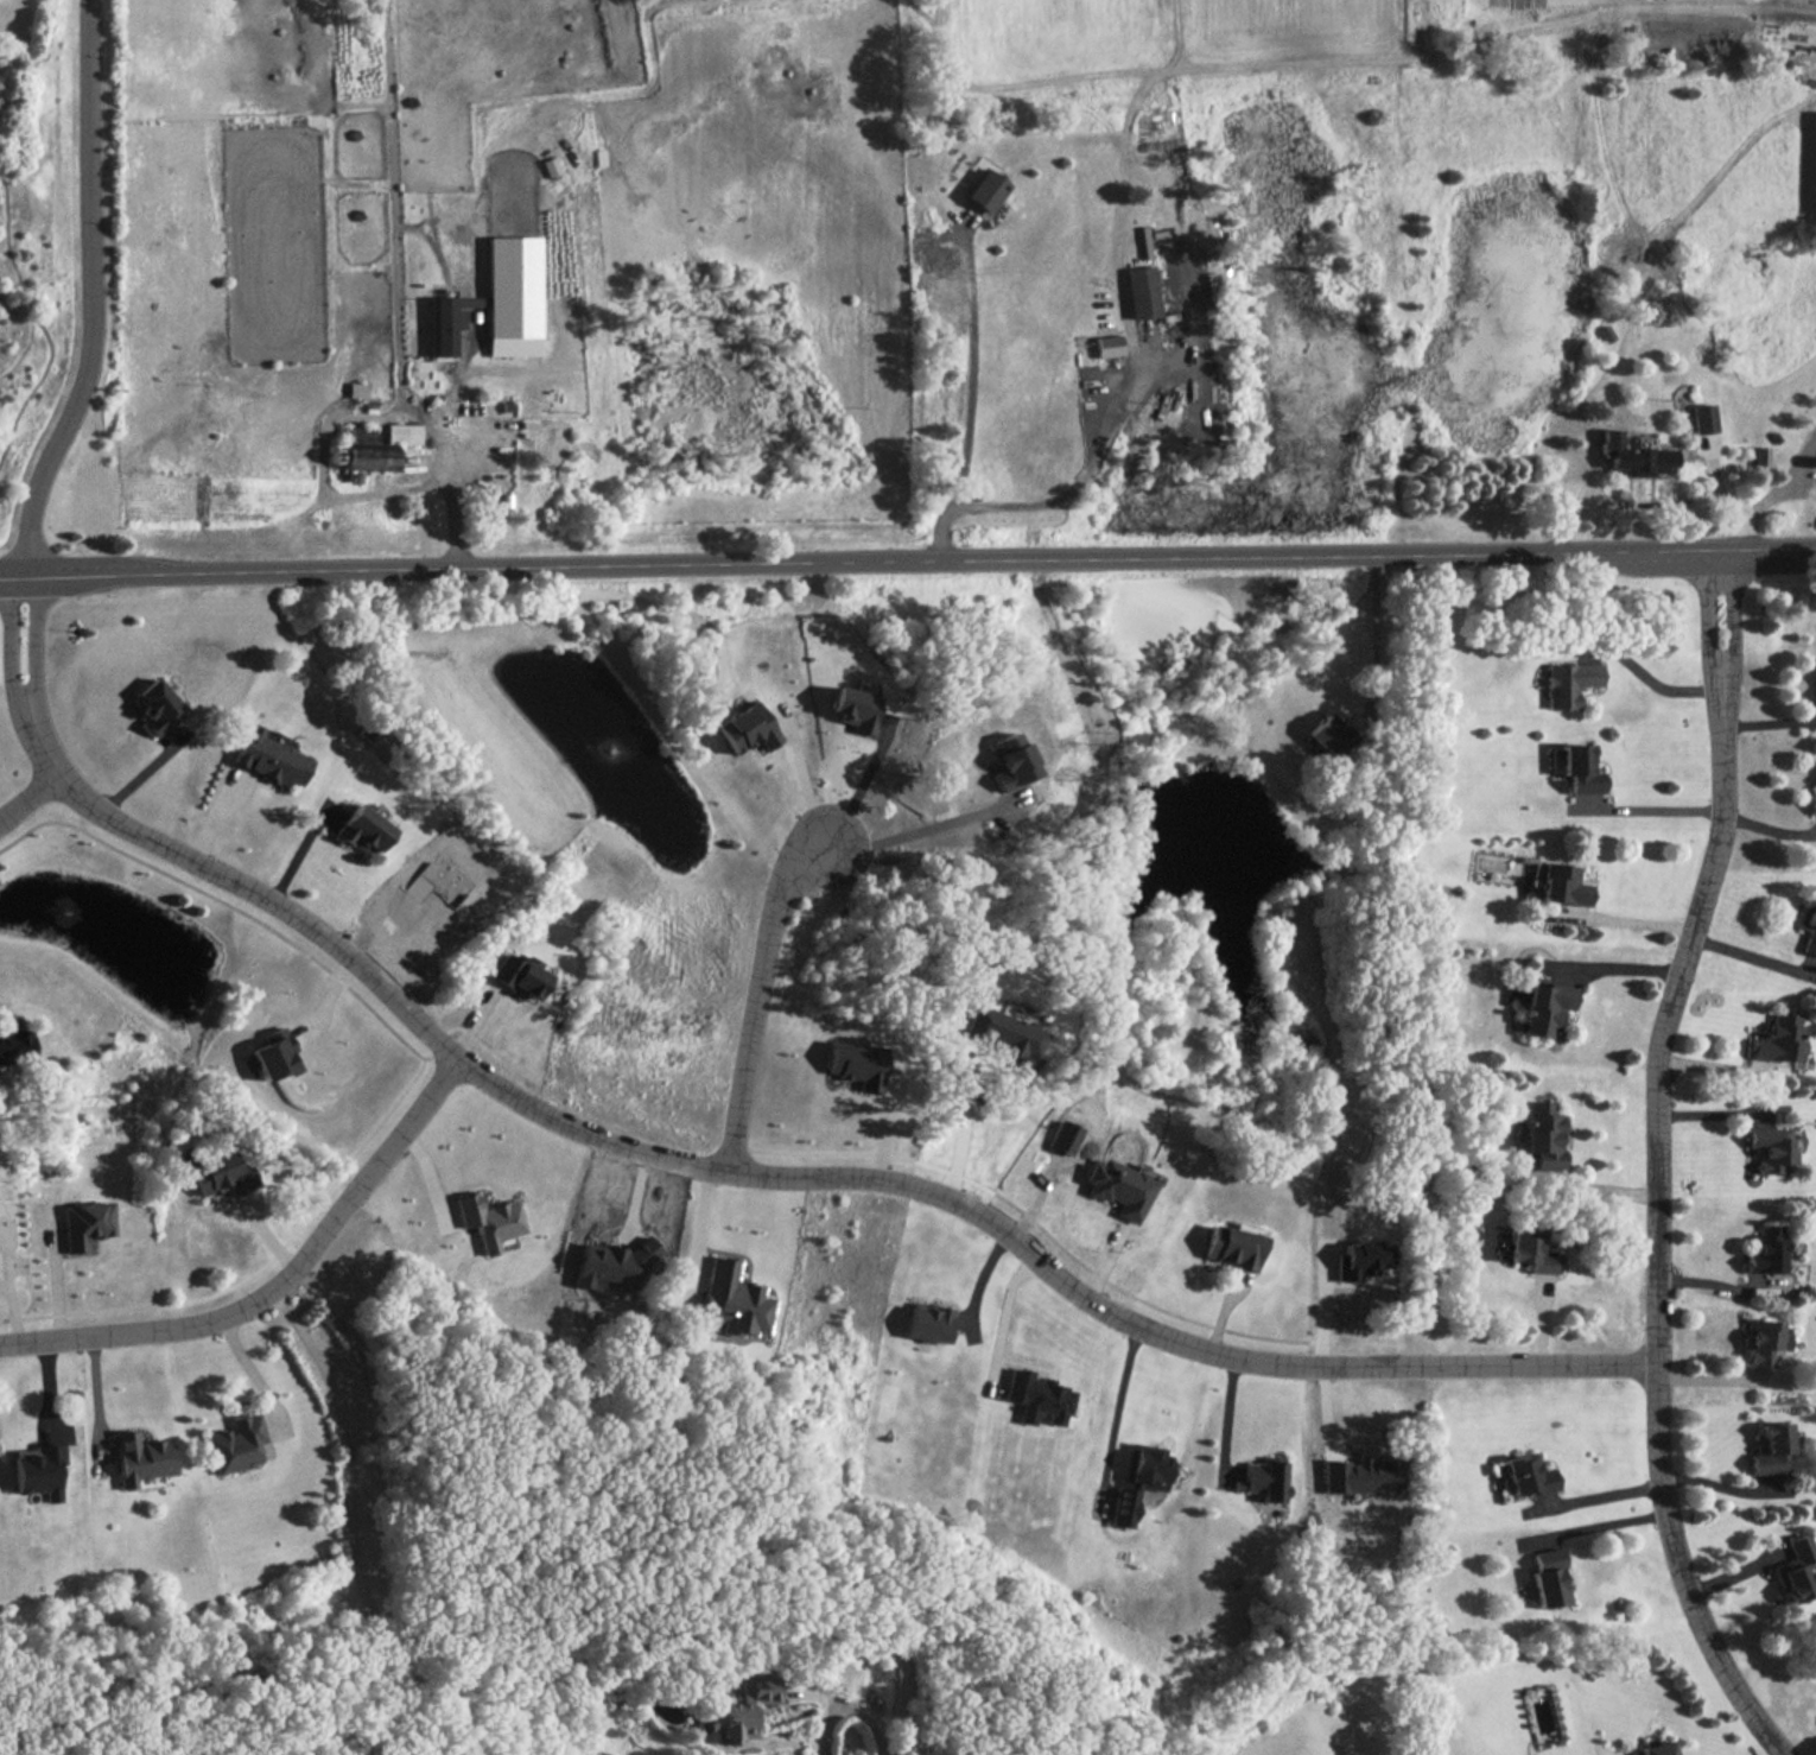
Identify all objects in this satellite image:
building: (1814, 160)
building: (986, 189)
building: (1143, 292)
road: (93, 294)
building: (513, 296)
building: (470, 302)
building: (446, 325)
building: (1109, 347)
road: (970, 408)
building: (1702, 418)
building: (1609, 438)
road: (452, 457)
building: (1761, 457)
building: (1642, 460)
road: (1082, 476)
road: (1773, 493)
road: (1634, 502)
road: (908, 563)
road: (1707, 614)
road: (1735, 615)
road: (1377, 636)
road: (38, 642)
road: (8, 644)
road: (1651, 679)
building: (1569, 683)
building: (157, 708)
building: (856, 709)
building: (748, 728)
building: (1331, 735)
building: (269, 758)
building: (1009, 761)
building: (1580, 768)
road: (27, 796)
road: (1662, 811)
building: (362, 829)
road: (908, 832)
building: (1562, 885)
road: (230, 907)
road: (1626, 920)
building: (1808, 921)
road: (1754, 957)
road: (1615, 965)
building: (519, 975)
road: (754, 996)
building: (1544, 1008)
building: (1004, 1033)
building: (1778, 1039)
building: (14, 1045)
building: (275, 1054)
road: (446, 1056)
building: (856, 1064)
road: (961, 1102)
building: (1542, 1136)
building: (1063, 1138)
building: (1771, 1148)
building: (221, 1176)
road: (785, 1176)
road: (1596, 1186)
building: (1120, 1187)
building: (490, 1221)
building: (84, 1224)
road: (1659, 1227)
building: (1233, 1247)
building: (1530, 1249)
building: (1766, 1250)
building: (1363, 1259)
building: (615, 1266)
road: (284, 1290)
building: (735, 1300)
building: (933, 1322)
building: (1764, 1342)
building: (1042, 1396)
road: (1124, 1409)
road: (1230, 1420)
building: (236, 1444)
building: (1771, 1449)
building: (141, 1458)
building: (38, 1470)
building: (1529, 1475)
building: (1360, 1476)
building: (1144, 1480)
building: (1265, 1480)
road: (1592, 1499)
road: (355, 1527)
road: (1590, 1527)
building: (1796, 1570)
building: (1548, 1577)
building: (744, 1709)
road: (849, 1709)
building: (1656, 1748)

